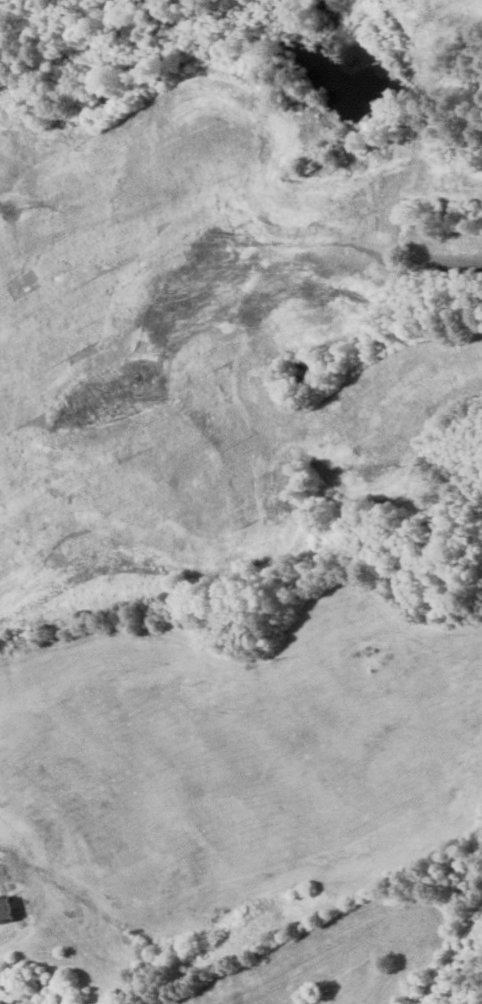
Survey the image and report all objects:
building: (10, 908)

